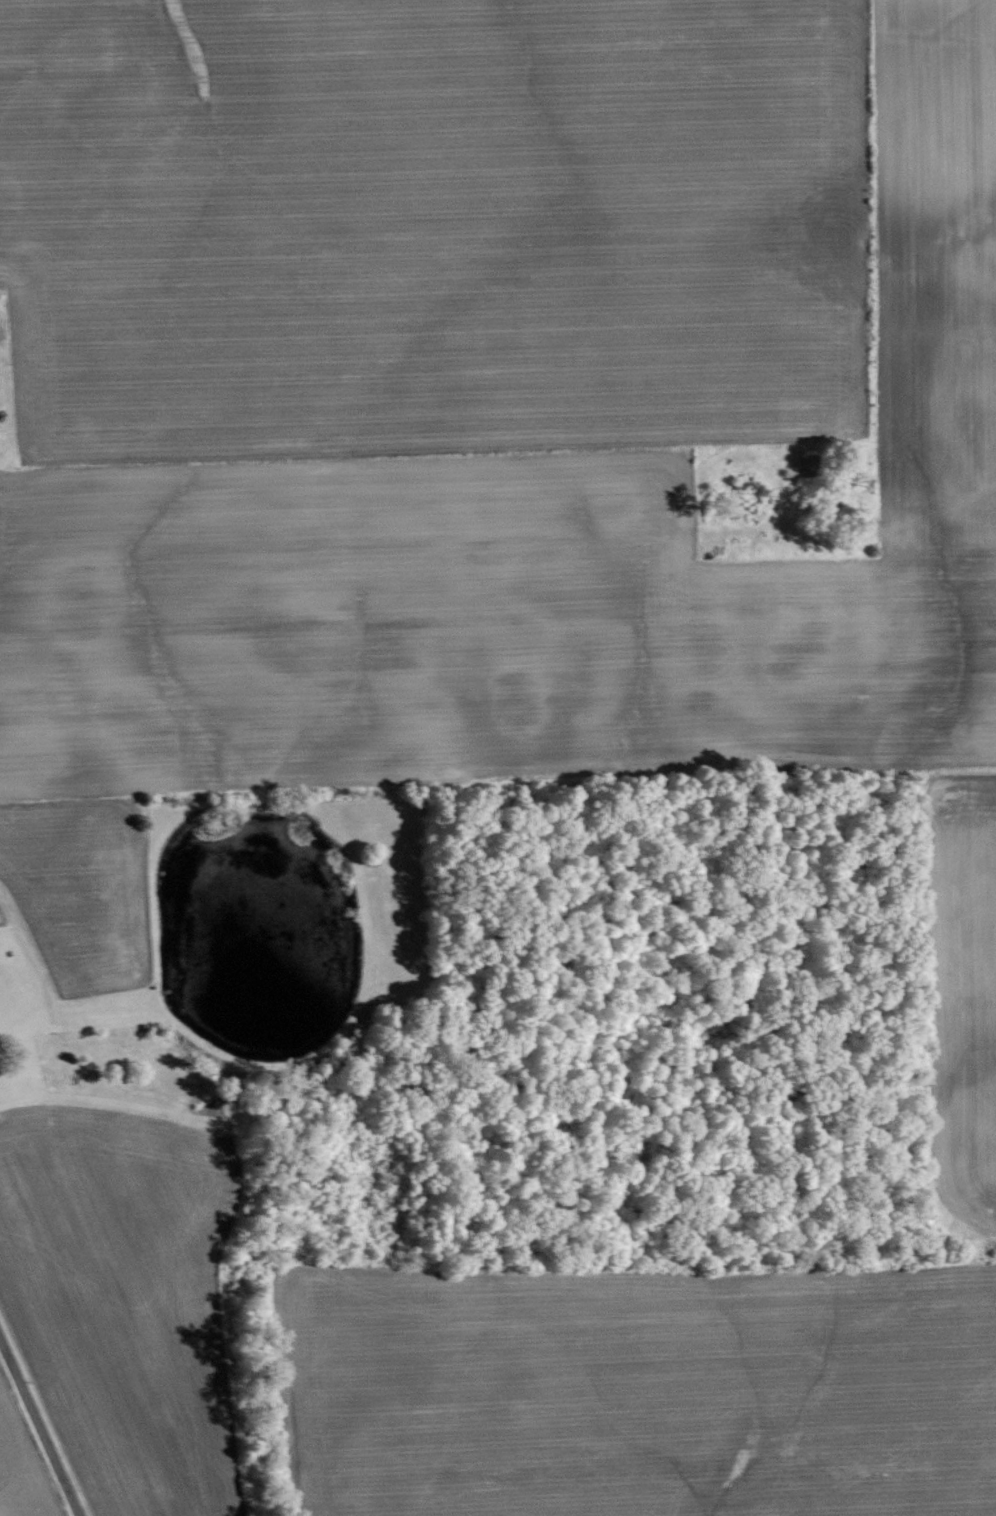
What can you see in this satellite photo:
road: (38, 1431)

